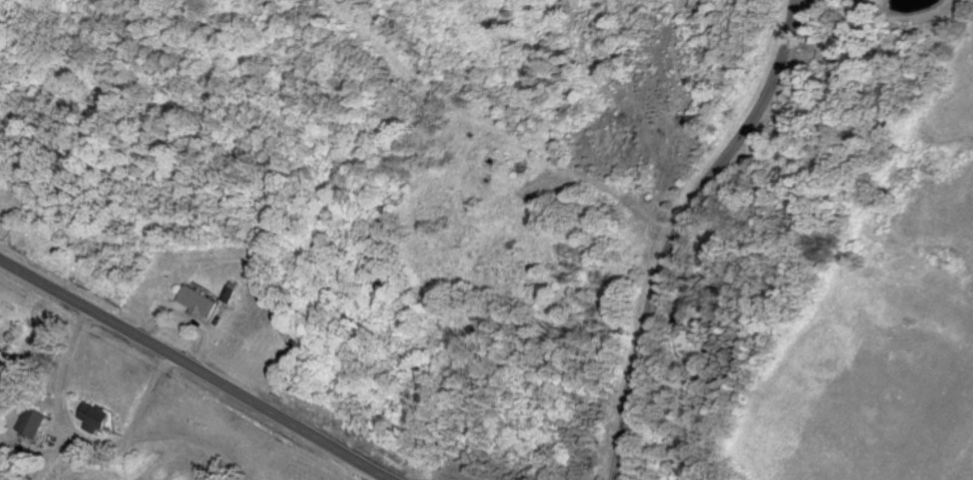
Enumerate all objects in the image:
road: (689, 234)
building: (200, 303)
building: (0, 349)
road: (195, 370)
building: (98, 415)
building: (35, 423)

